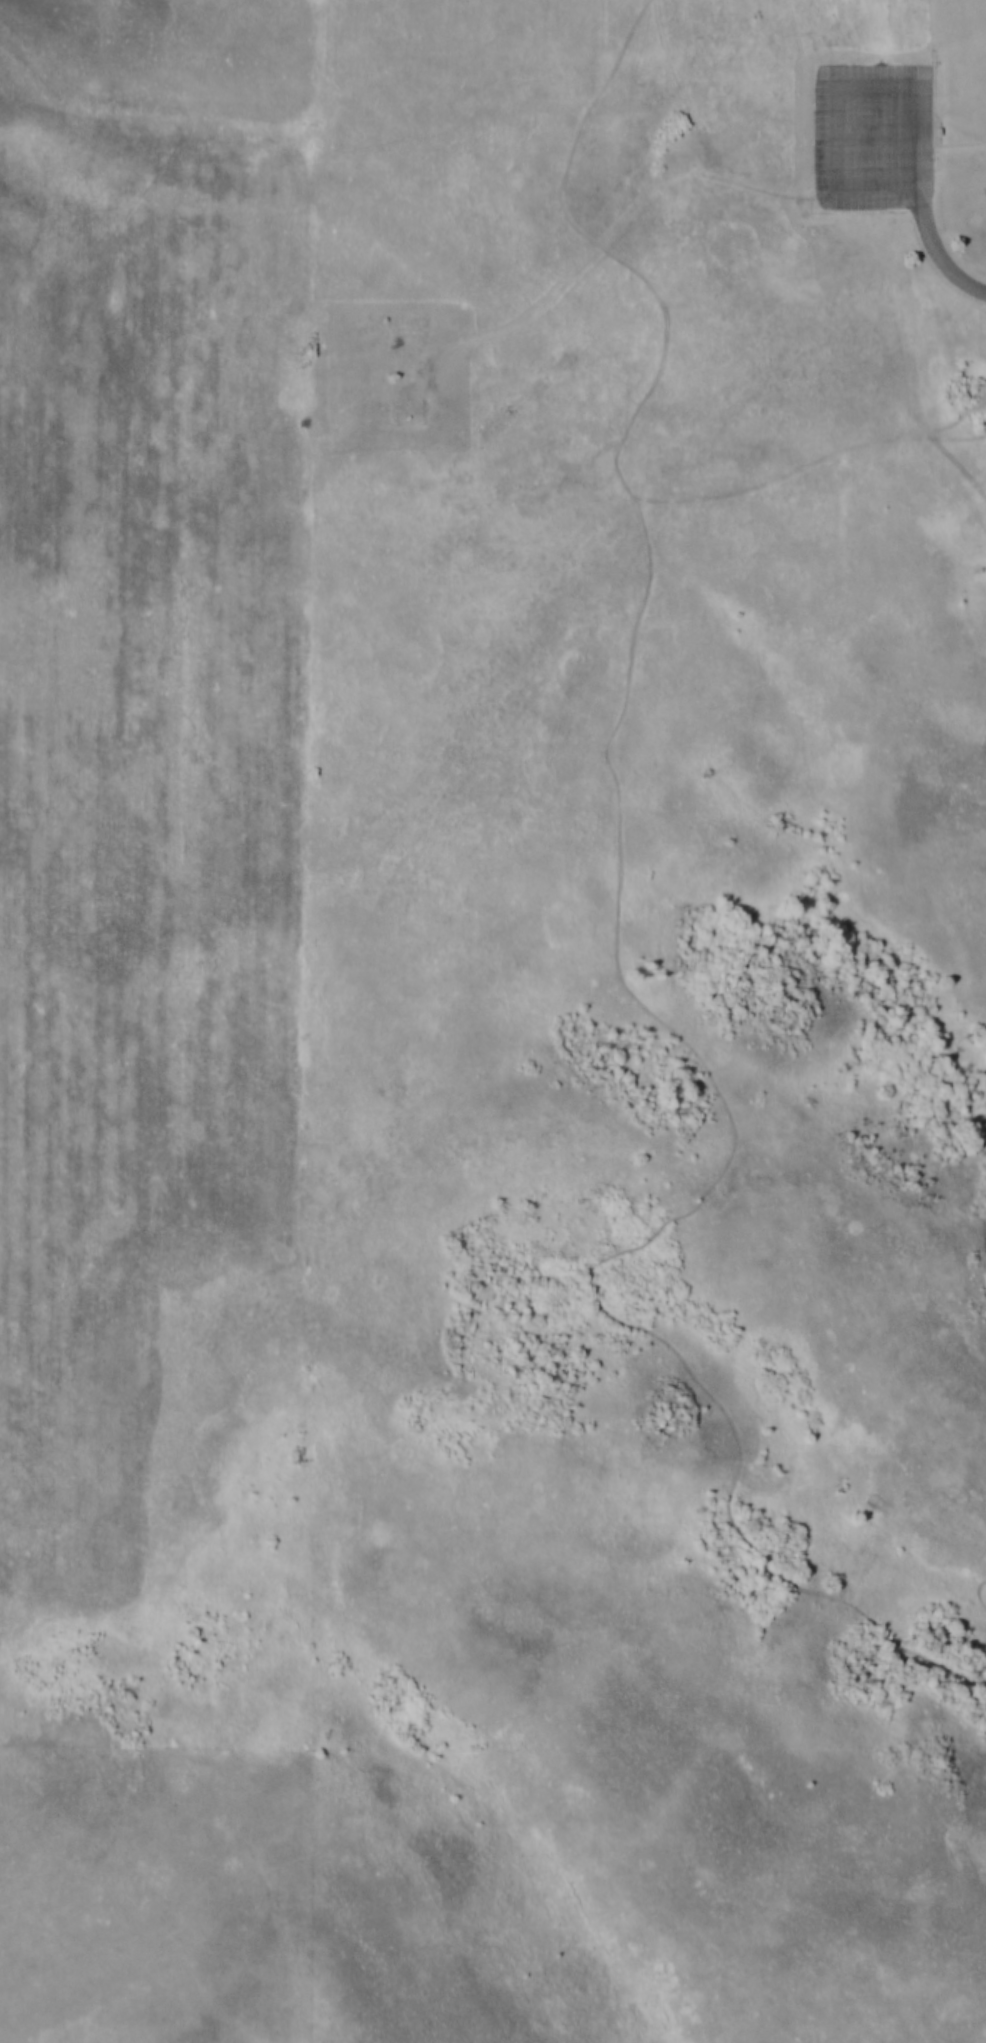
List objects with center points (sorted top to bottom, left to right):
parking lot: (871, 134)
road: (959, 142)
road: (673, 176)
road: (943, 260)
road: (895, 372)
park: (394, 374)
park: (649, 1022)

